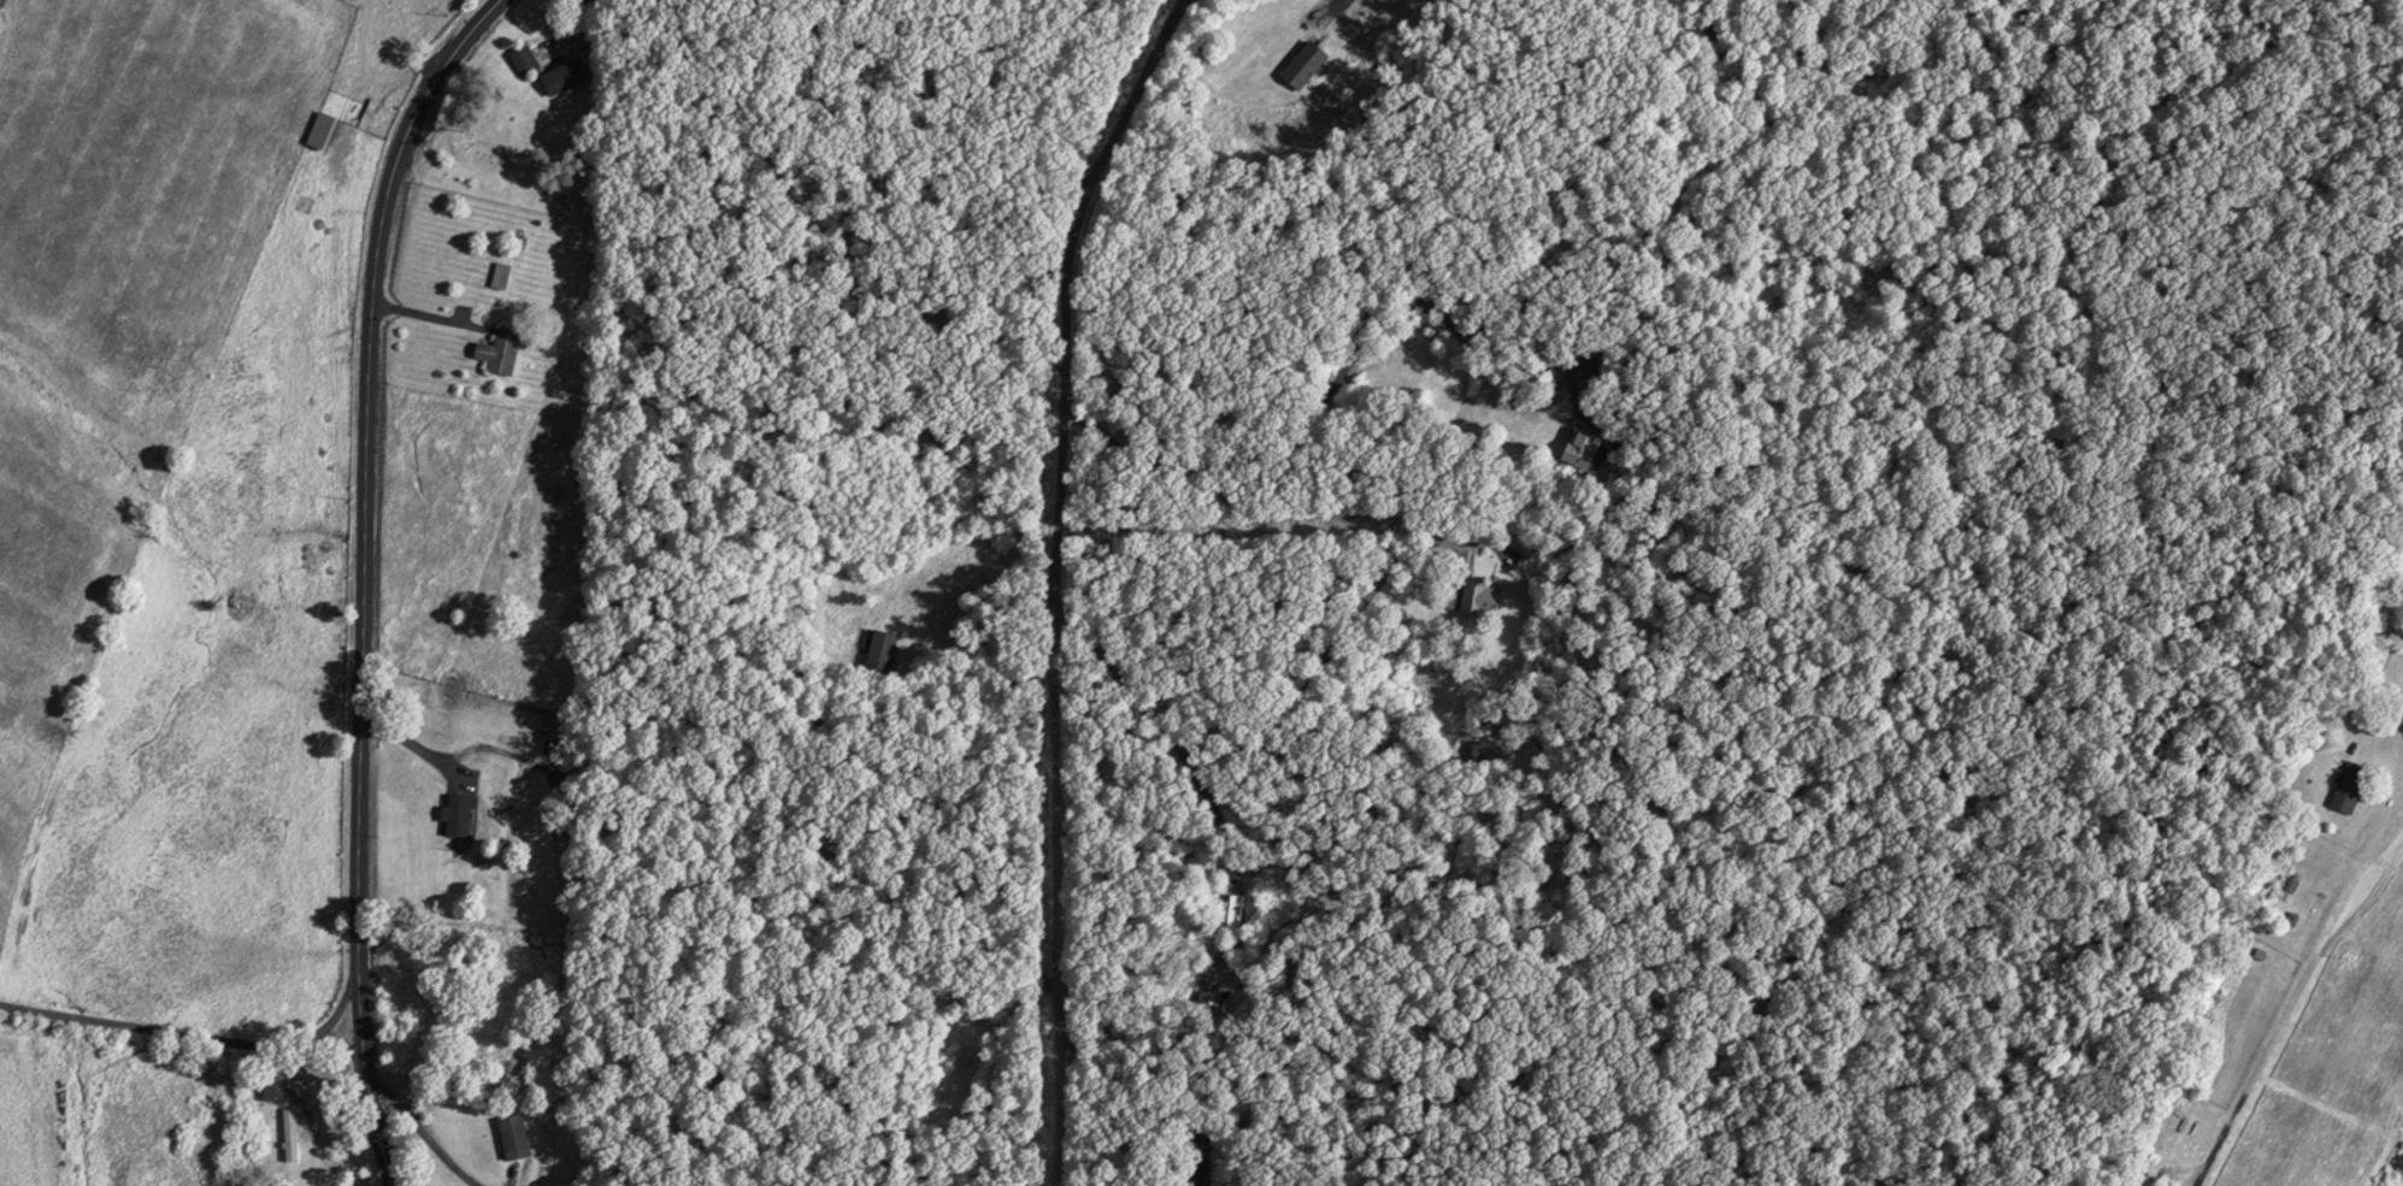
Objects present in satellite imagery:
building: (524, 60)
building: (1302, 65)
building: (318, 124)
building: (499, 276)
building: (500, 350)
road: (369, 577)
road: (1090, 586)
building: (1467, 596)
building: (2346, 787)
building: (457, 814)
road: (2331, 973)
road: (182, 1032)
building: (265, 1090)
building: (288, 1134)
building: (511, 1139)

